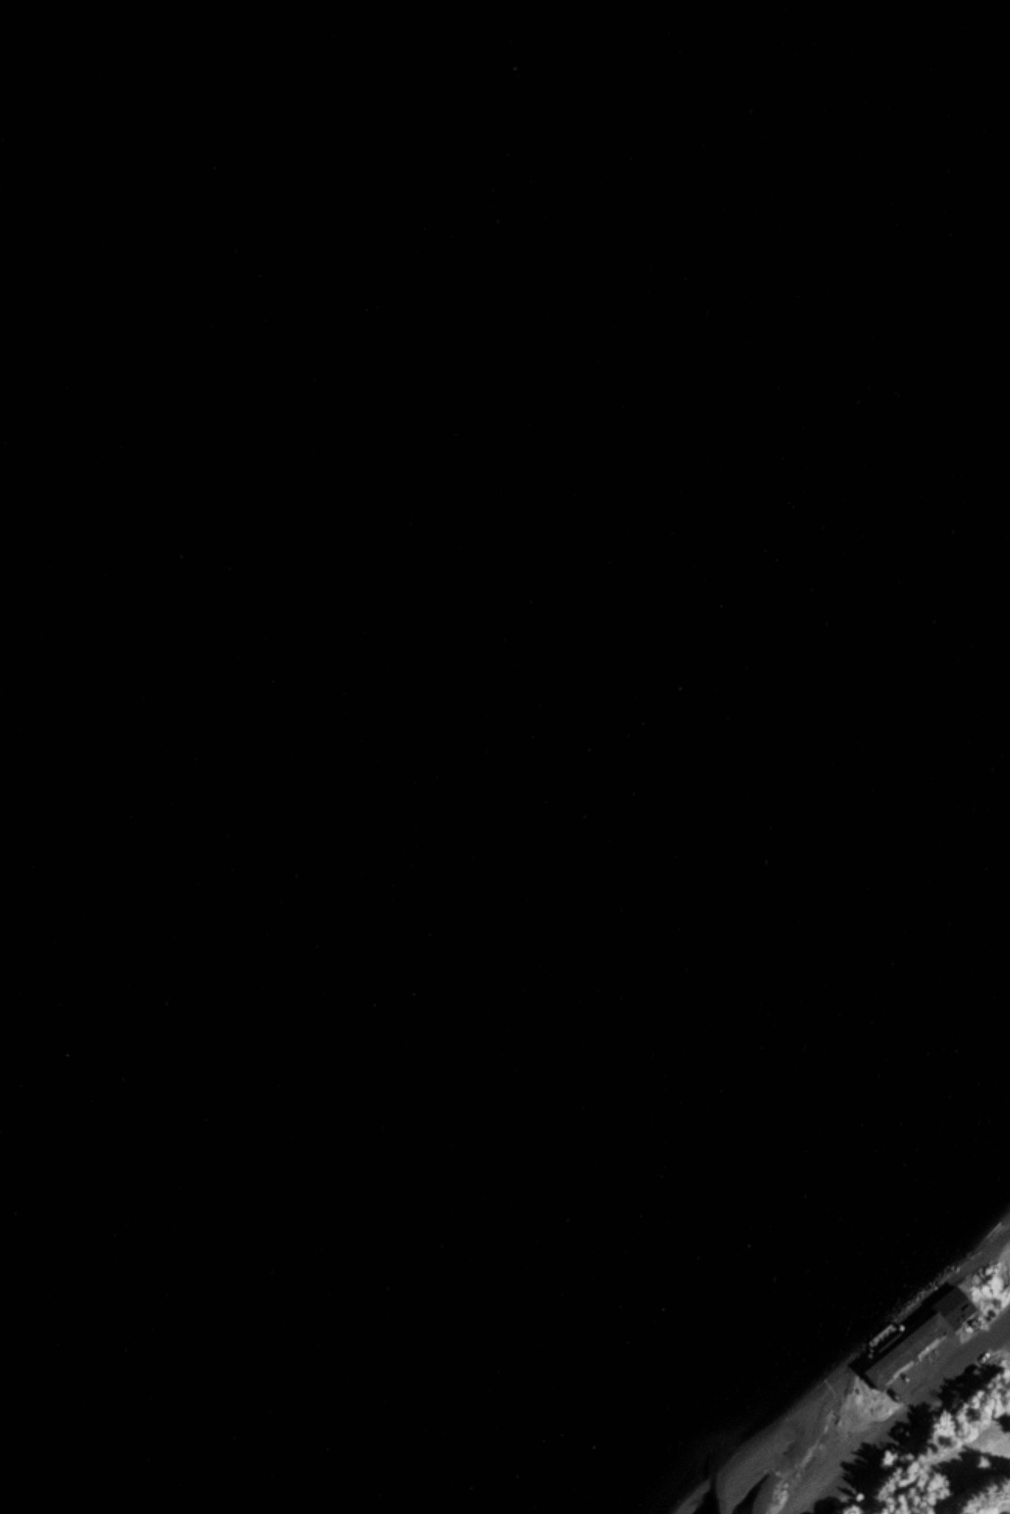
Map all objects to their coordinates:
building: (922, 1341)
road: (904, 1414)
river: (700, 1468)

